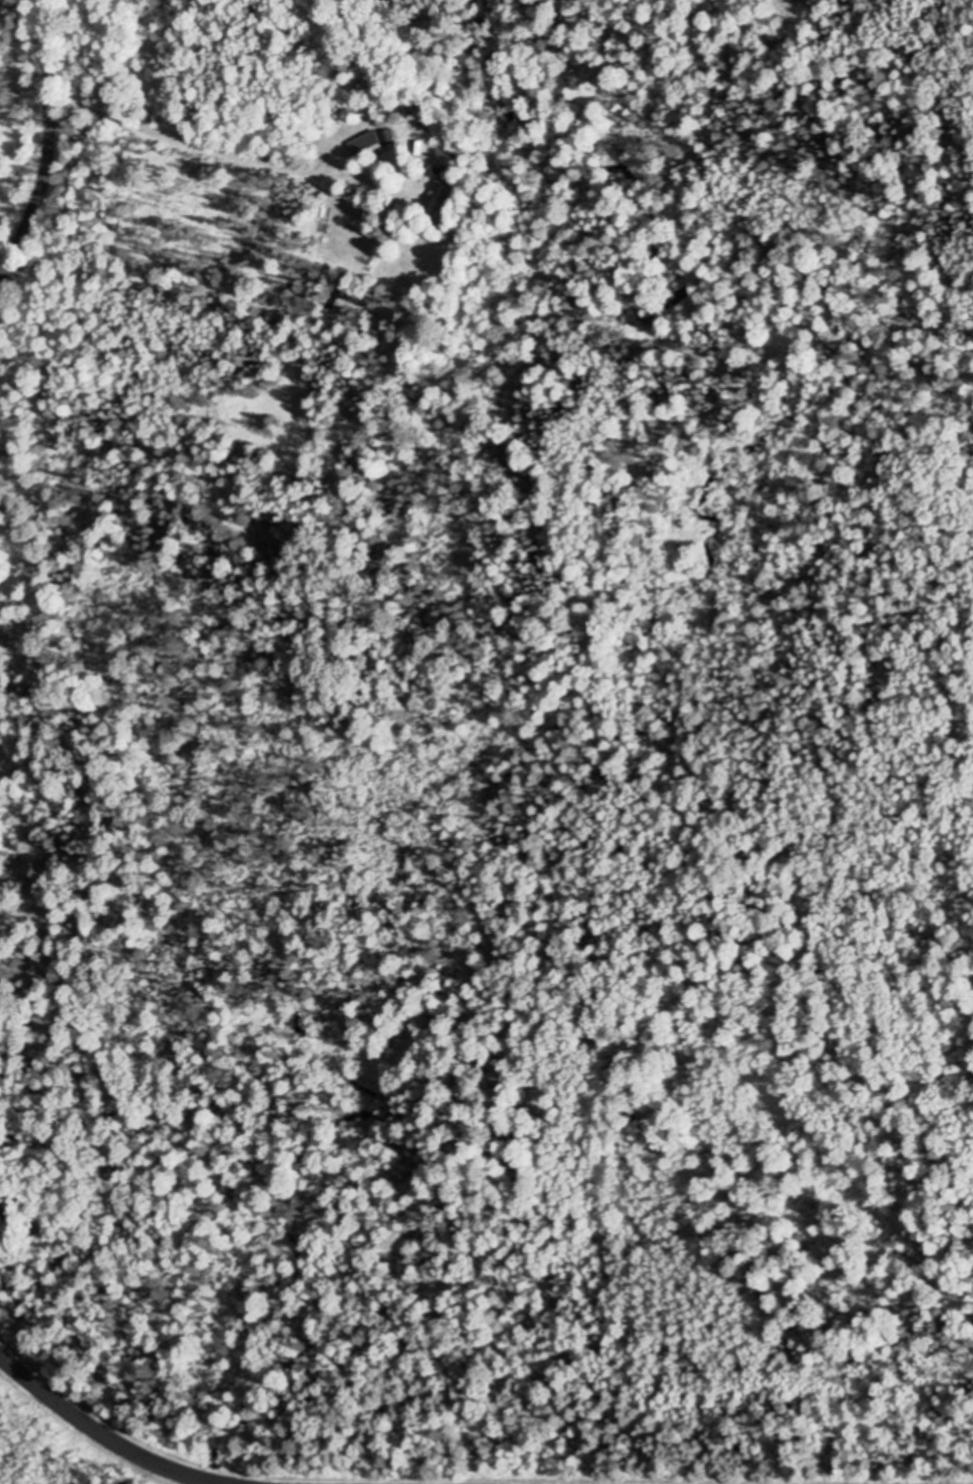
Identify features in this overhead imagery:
road: (172, 131)
road: (45, 140)
road: (871, 1196)
road: (107, 1434)

